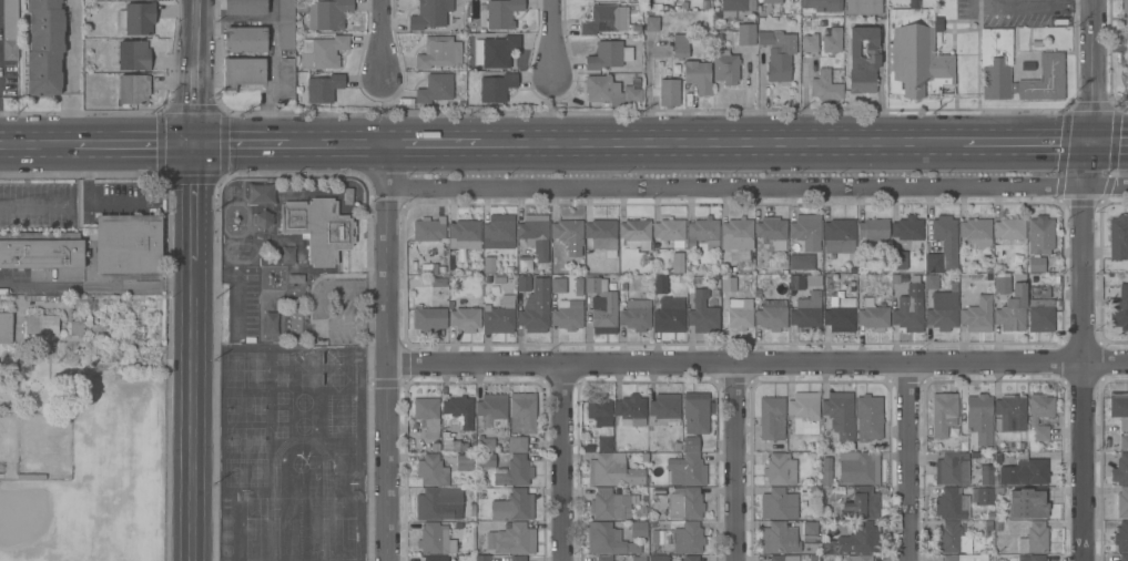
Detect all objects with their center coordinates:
building: (772, 1)
building: (822, 4)
road: (1032, 4)
building: (245, 7)
building: (735, 7)
building: (864, 7)
building: (502, 12)
building: (327, 13)
building: (430, 14)
building: (1125, 16)
building: (136, 19)
building: (603, 19)
building: (652, 23)
building: (286, 24)
building: (10, 30)
building: (744, 34)
road: (193, 35)
building: (245, 40)
road: (382, 41)
building: (832, 41)
building: (810, 43)
road: (550, 44)
building: (44, 47)
building: (680, 47)
building: (659, 49)
building: (498, 51)
building: (323, 52)
building: (439, 52)
building: (916, 52)
building: (778, 54)
building: (133, 55)
building: (608, 55)
building: (862, 59)
building: (996, 62)
building: (724, 67)
road: (1088, 71)
building: (242, 72)
road: (70, 73)
building: (698, 76)
building: (1126, 76)
building: (286, 79)
building: (1045, 79)
building: (825, 86)
building: (323, 88)
building: (496, 88)
building: (132, 89)
building: (435, 89)
building: (611, 91)
road: (647, 91)
building: (669, 93)
road: (193, 109)
road: (337, 143)
road: (434, 143)
road: (1107, 143)
road: (720, 144)
road: (1024, 144)
traffic signals: (1087, 144)
road: (34, 145)
road: (238, 145)
road: (131, 146)
traffic signals: (193, 146)
road: (758, 188)
building: (347, 196)
road: (193, 200)
road: (35, 207)
building: (318, 228)
building: (429, 229)
building: (873, 229)
building: (908, 231)
building: (498, 232)
building: (1008, 232)
building: (703, 233)
building: (772, 233)
building: (806, 233)
building: (976, 233)
building: (535, 234)
building: (634, 234)
building: (736, 234)
building: (465, 235)
building: (1040, 235)
building: (602, 236)
building: (839, 236)
building: (1118, 237)
building: (670, 238)
building: (567, 239)
building: (943, 245)
building: (128, 247)
building: (41, 251)
building: (805, 262)
building: (898, 263)
building: (525, 264)
building: (488, 265)
building: (1036, 265)
building: (932, 282)
building: (796, 283)
building: (728, 284)
road: (95, 285)
building: (559, 285)
building: (660, 285)
building: (578, 287)
building: (1039, 293)
building: (533, 304)
building: (1009, 304)
building: (601, 307)
building: (943, 309)
building: (1119, 309)
building: (703, 312)
building: (975, 312)
building: (740, 314)
building: (806, 314)
building: (839, 314)
building: (908, 314)
building: (568, 315)
building: (636, 315)
building: (772, 315)
building: (1040, 315)
building: (669, 316)
building: (873, 316)
building: (499, 317)
building: (466, 318)
building: (429, 319)
building: (41, 325)
building: (75, 327)
building: (6, 328)
road: (389, 351)
road: (1086, 351)
road: (759, 364)
building: (804, 406)
building: (944, 406)
road: (192, 407)
building: (492, 409)
building: (665, 409)
building: (600, 410)
building: (631, 410)
building: (1119, 410)
building: (522, 411)
building: (1012, 412)
building: (457, 414)
building: (840, 415)
building: (427, 416)
building: (1040, 416)
building: (772, 418)
building: (868, 418)
building: (979, 418)
building: (694, 420)
building: (939, 431)
building: (1122, 442)
building: (453, 443)
building: (486, 445)
building: (518, 445)
building: (604, 445)
building: (486, 461)
building: (464, 462)
road: (566, 462)
road: (735, 462)
road: (906, 463)
building: (858, 468)
building: (685, 469)
building: (952, 469)
building: (780, 470)
building: (1120, 470)
building: (431, 471)
building: (514, 471)
building: (612, 471)
building: (826, 471)
building: (1024, 472)
building: (986, 476)
building: (962, 502)
building: (439, 503)
building: (684, 503)
building: (861, 503)
building: (1028, 503)
building: (1122, 503)
building: (609, 504)
building: (779, 504)
building: (512, 507)
building: (639, 529)
building: (810, 532)
building: (1121, 537)
building: (1035, 538)
building: (435, 539)
building: (511, 539)
building: (688, 539)
building: (779, 539)
building: (860, 539)
building: (952, 539)
building: (608, 540)
building: (482, 558)
building: (604, 558)
building: (658, 558)
building: (691, 558)
building: (784, 558)
building: (860, 558)
building: (949, 558)
building: (1034, 558)
building: (1124, 558)
building: (435, 559)
building: (518, 559)
building: (638, 559)

